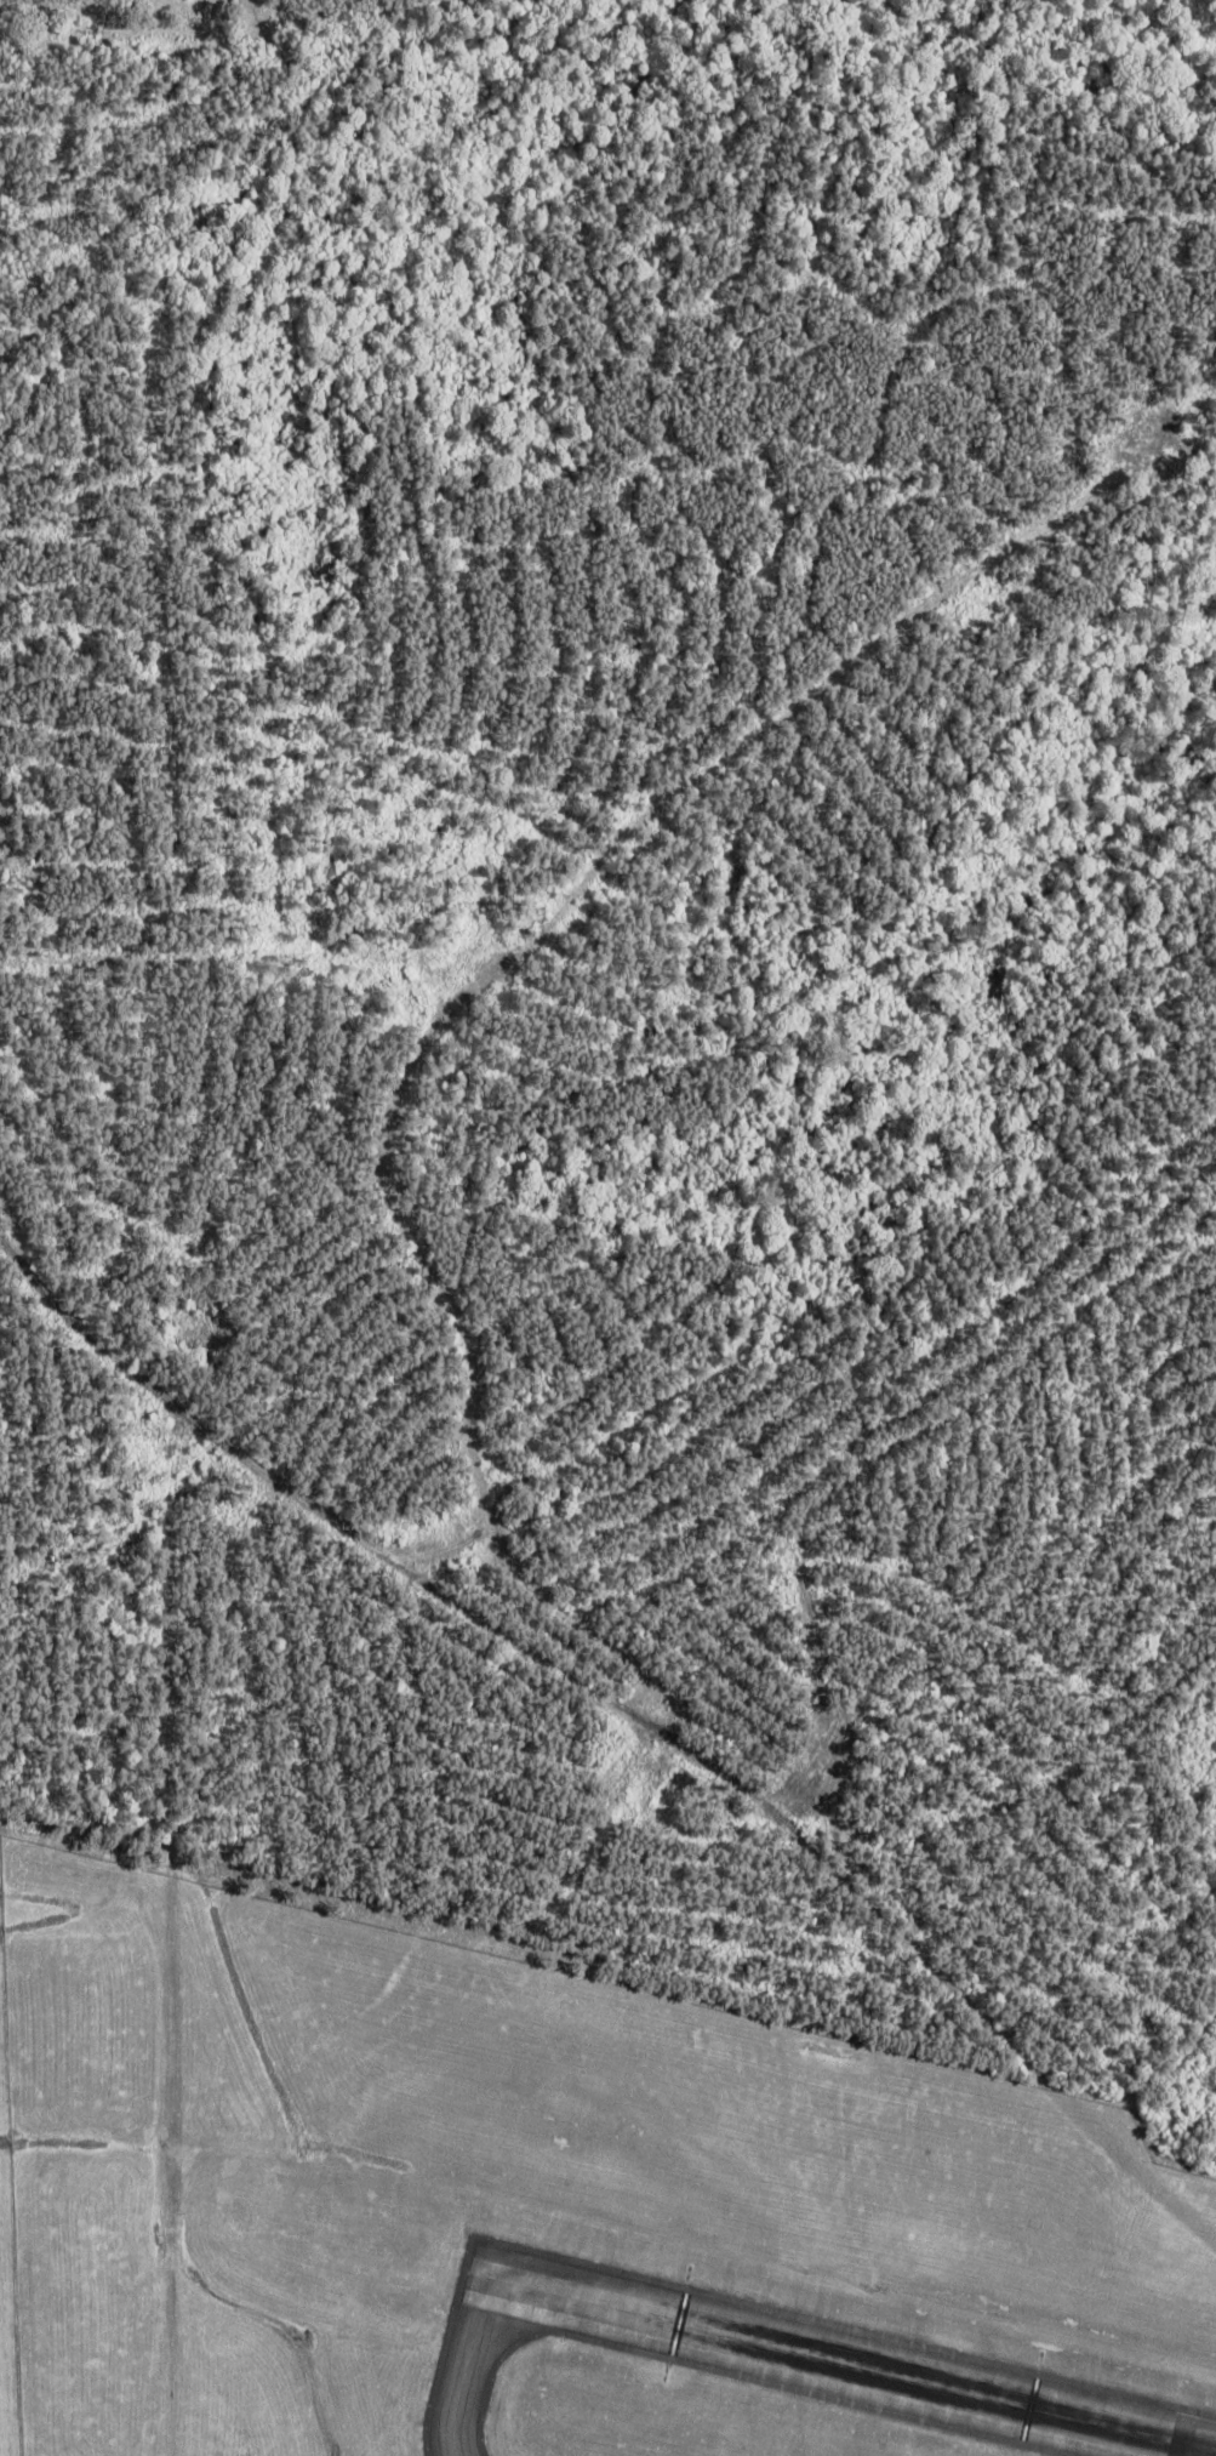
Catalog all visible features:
road: (161, 1616)
road: (524, 1643)
airport: (546, 2209)
airport taxiway: (470, 2355)
airport runway: (841, 2364)

